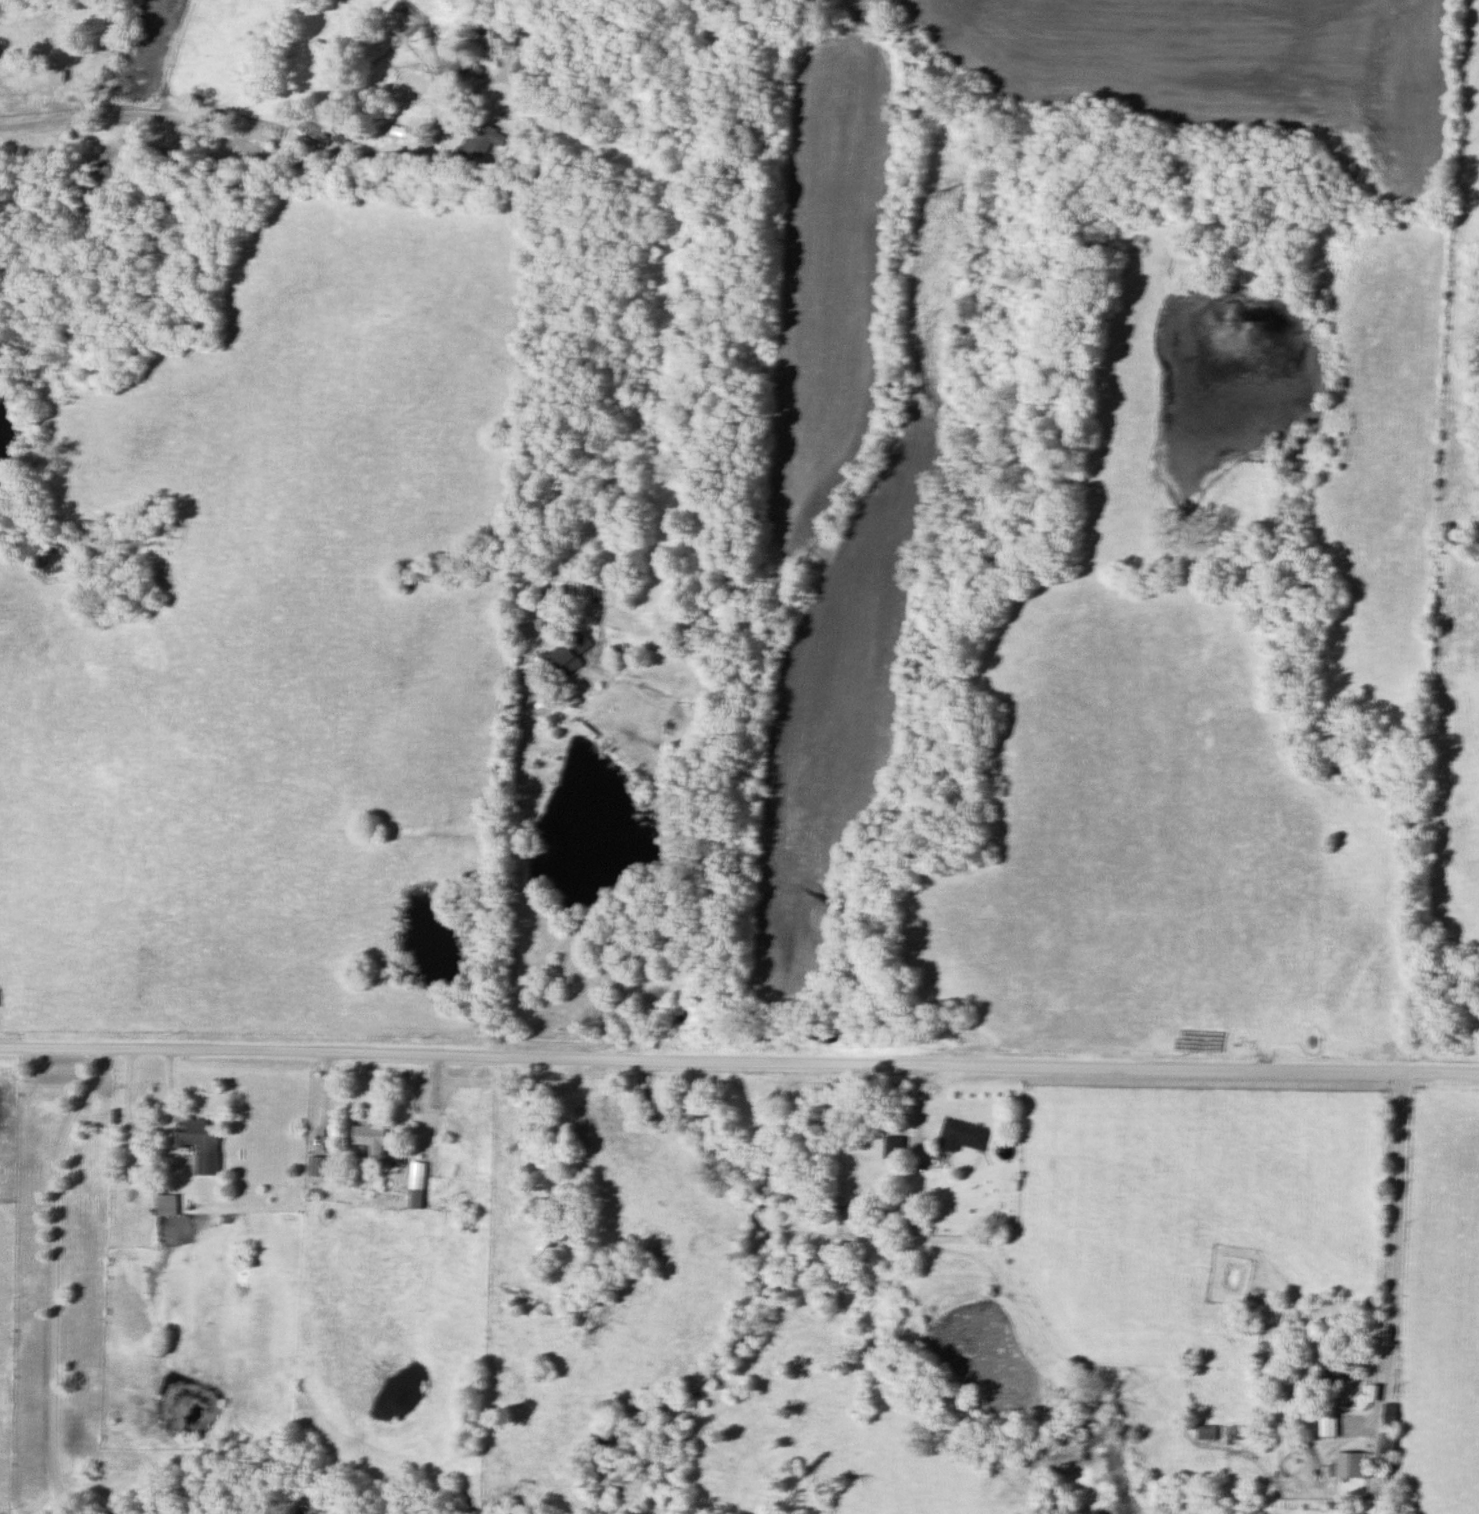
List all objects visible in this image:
building: (506, 34)
building: (462, 68)
crop: (1224, 68)
building: (520, 71)
building: (221, 121)
building: (484, 140)
road: (264, 152)
crop: (842, 457)
building: (569, 582)
building: (564, 657)
road: (515, 859)
road: (739, 1062)
building: (462, 1123)
road: (918, 1124)
building: (199, 1135)
building: (965, 1136)
building: (371, 1140)
building: (895, 1149)
road: (159, 1155)
building: (208, 1165)
building: (319, 1169)
building: (418, 1187)
building: (168, 1207)
road: (1394, 1259)
road: (54, 1276)
building: (1336, 1371)
building: (1330, 1428)
building: (1391, 1431)
building: (1239, 1435)
building: (1355, 1467)

